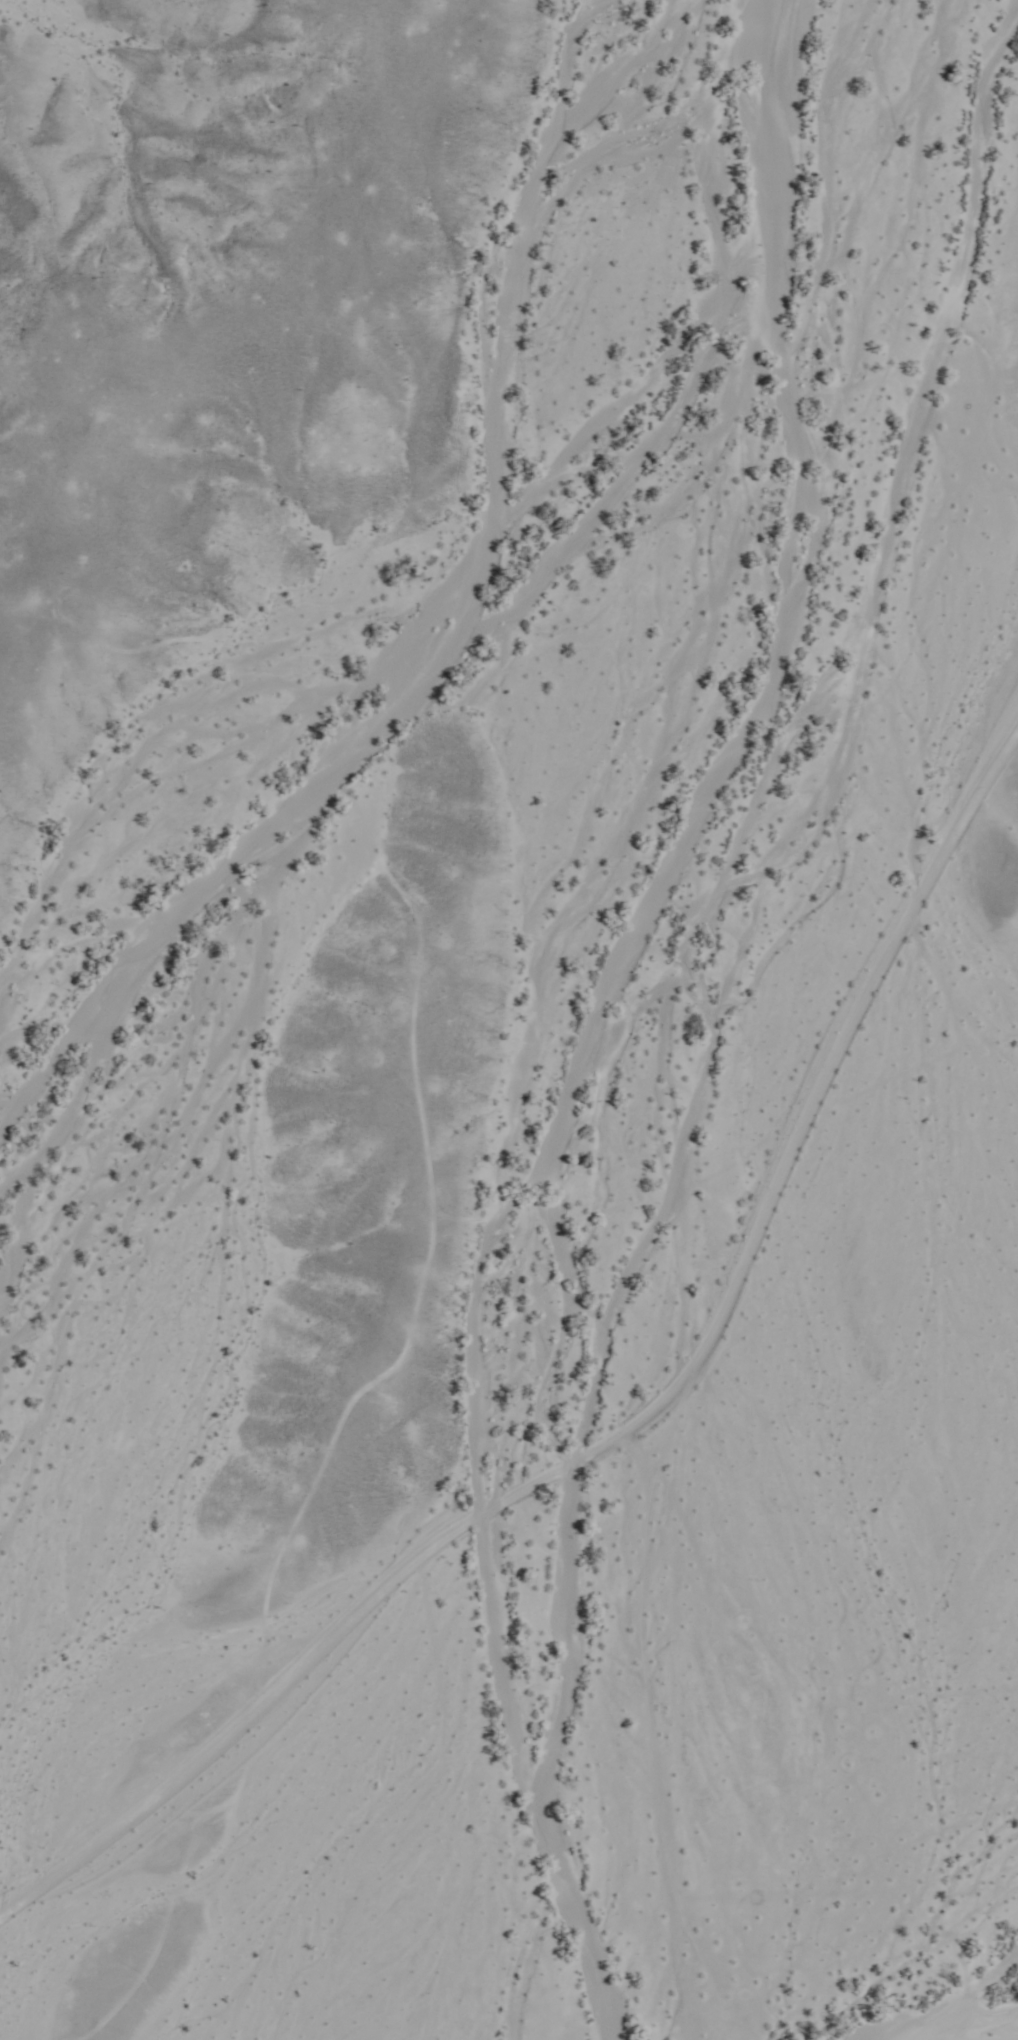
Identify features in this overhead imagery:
road: (657, 1423)

